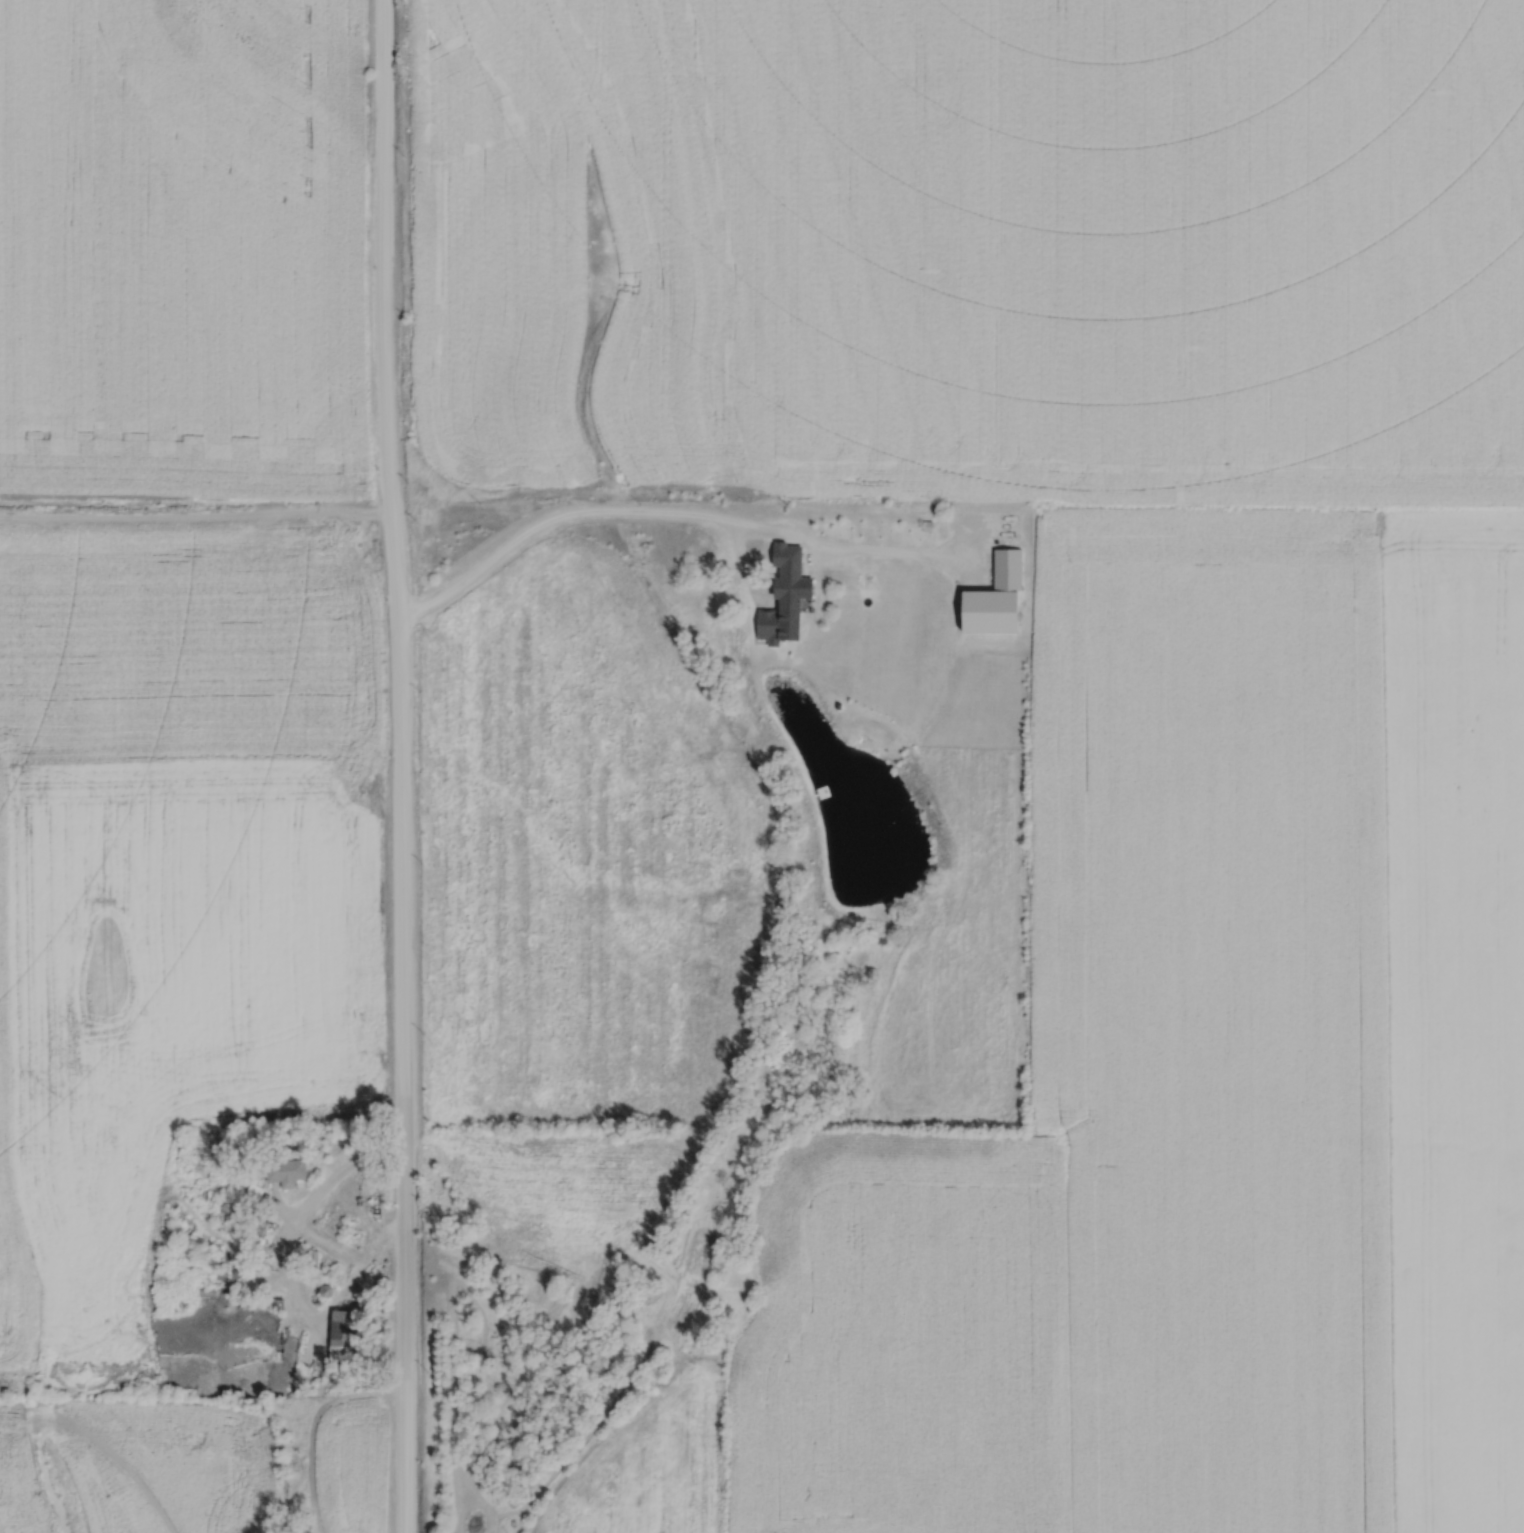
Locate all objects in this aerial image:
road: (583, 509)
building: (1014, 529)
road: (842, 543)
building: (1004, 569)
building: (785, 604)
road: (394, 766)
building: (290, 1171)
road: (330, 1187)
building: (347, 1328)

